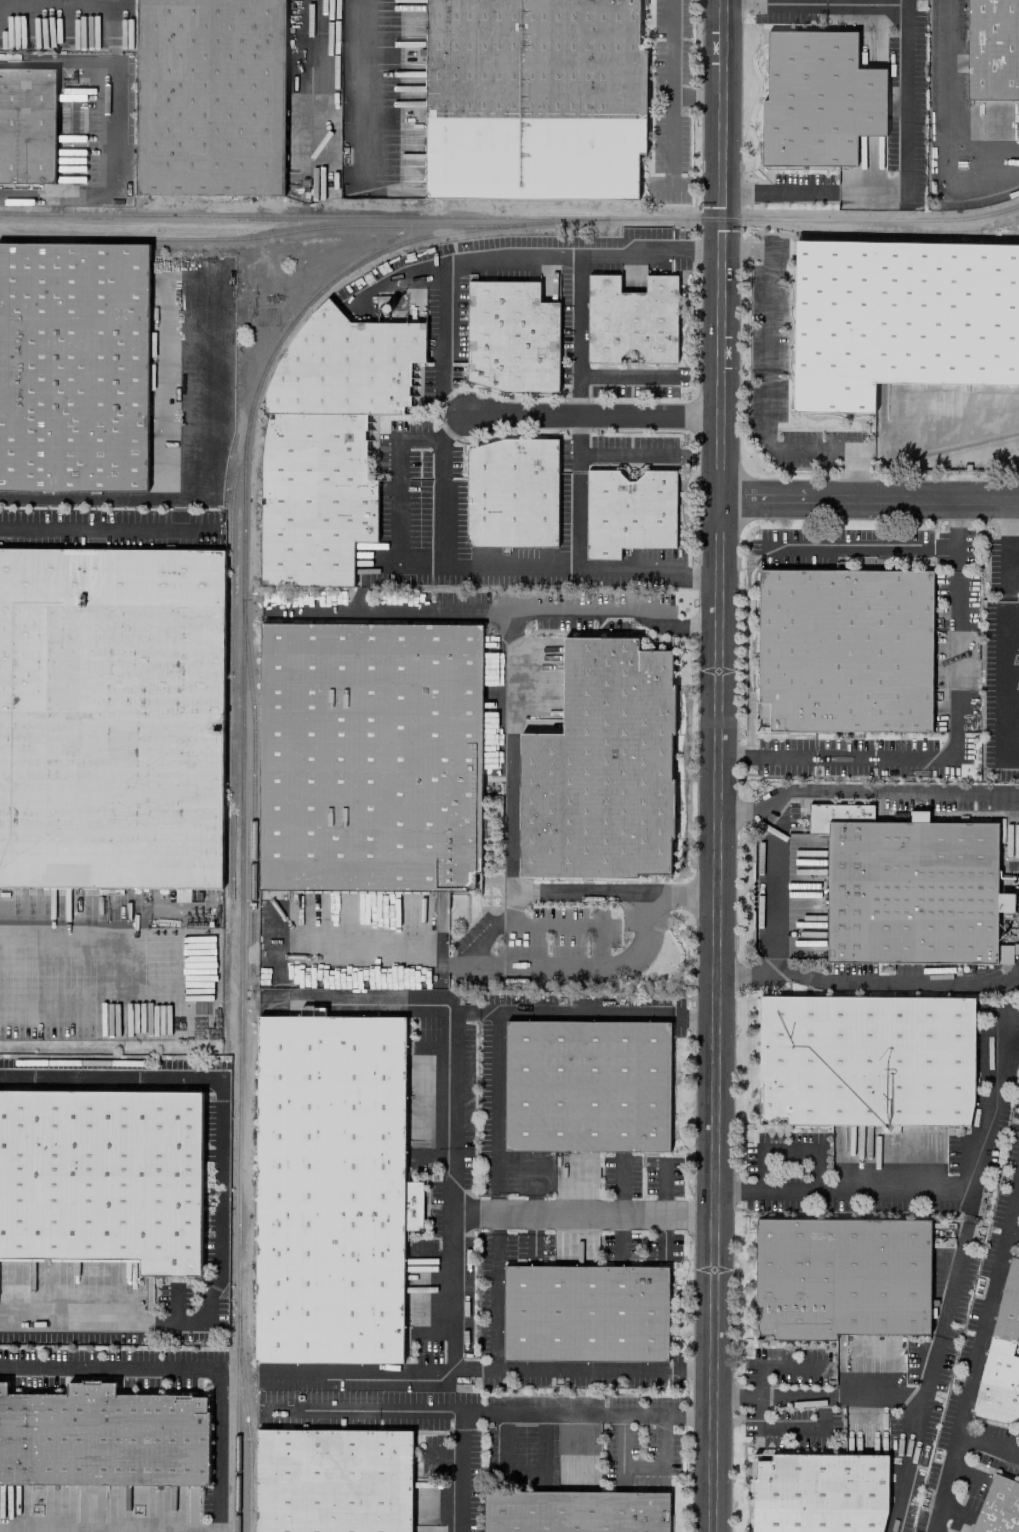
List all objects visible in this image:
road: (816, 3)
building: (992, 49)
road: (315, 84)
road: (673, 93)
road: (364, 94)
road: (698, 95)
building: (210, 98)
building: (535, 98)
building: (818, 100)
building: (26, 125)
road: (112, 125)
road: (938, 132)
road: (905, 183)
railway: (302, 214)
railway: (257, 237)
road: (504, 259)
road: (396, 276)
building: (899, 318)
building: (632, 320)
road: (576, 334)
building: (513, 336)
building: (150, 344)
building: (73, 366)
building: (345, 367)
road: (624, 376)
road: (767, 392)
road: (591, 413)
road: (963, 429)
road: (624, 455)
road: (202, 488)
road: (574, 491)
road: (868, 491)
building: (513, 494)
building: (315, 498)
road: (443, 505)
building: (629, 512)
road: (108, 527)
railway: (241, 542)
road: (863, 549)
road: (453, 568)
road: (386, 610)
road: (1001, 622)
building: (846, 651)
railway: (229, 658)
building: (1017, 679)
building: (1018, 688)
building: (110, 717)
road: (955, 742)
road: (510, 745)
building: (372, 757)
road: (716, 765)
building: (600, 767)
road: (858, 789)
railway: (251, 791)
road: (772, 893)
building: (912, 893)
road: (649, 906)
road: (510, 907)
road: (578, 923)
road: (630, 954)
road: (375, 964)
road: (149, 965)
road: (452, 965)
road: (493, 965)
road: (867, 983)
road: (503, 1012)
road: (474, 1013)
building: (865, 1060)
building: (585, 1086)
road: (993, 1109)
road: (221, 1115)
road: (453, 1116)
building: (101, 1176)
road: (532, 1176)
building: (330, 1189)
road: (583, 1215)
road: (1013, 1226)
road: (954, 1273)
building: (840, 1278)
road: (494, 1279)
road: (174, 1302)
building: (584, 1313)
road: (76, 1320)
road: (976, 1348)
building: (1001, 1357)
road: (190, 1367)
road: (487, 1369)
road: (364, 1406)
road: (524, 1406)
railway: (246, 1434)
building: (102, 1437)
road: (987, 1444)
road: (907, 1461)
building: (332, 1480)
building: (819, 1493)
building: (998, 1507)
building: (574, 1512)

